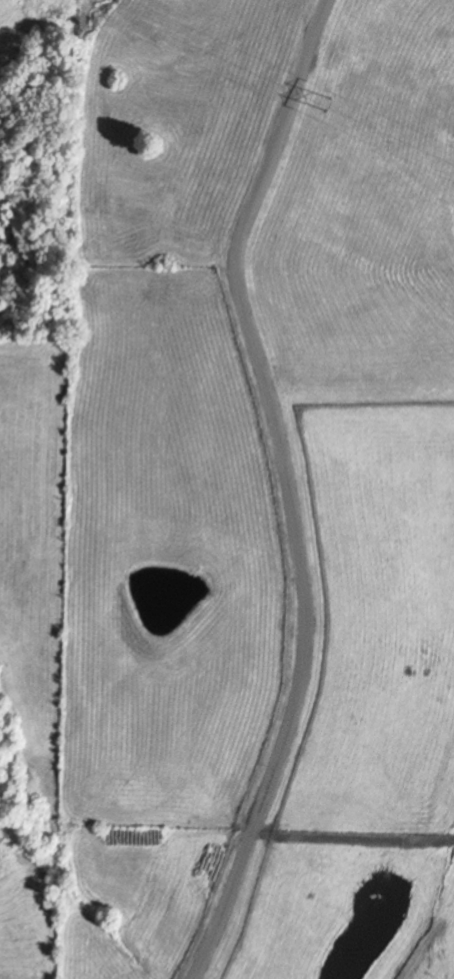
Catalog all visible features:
power tower: (329, 105)
road: (285, 488)

